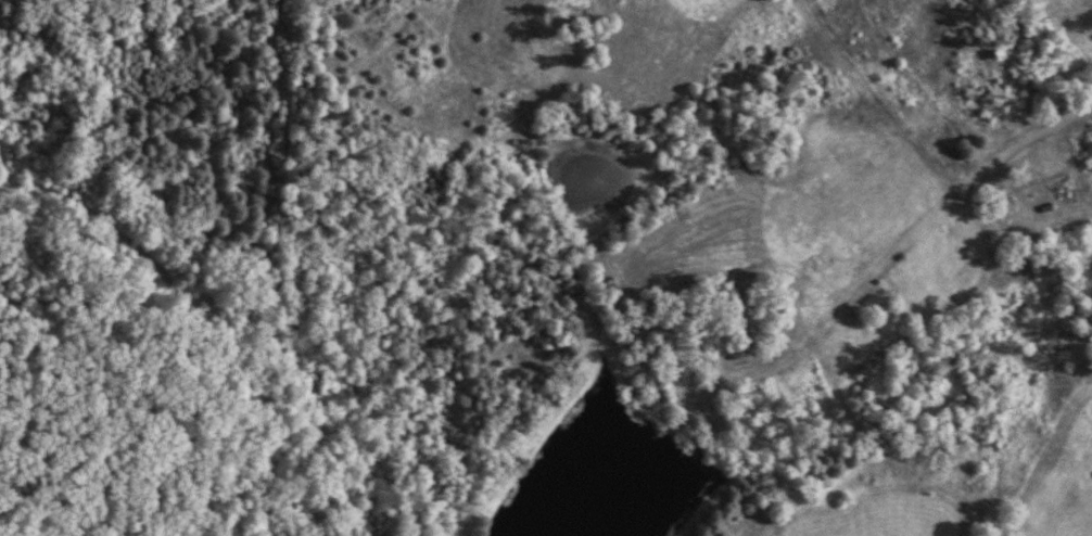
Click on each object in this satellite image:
building: (1077, 47)
building: (1040, 182)

